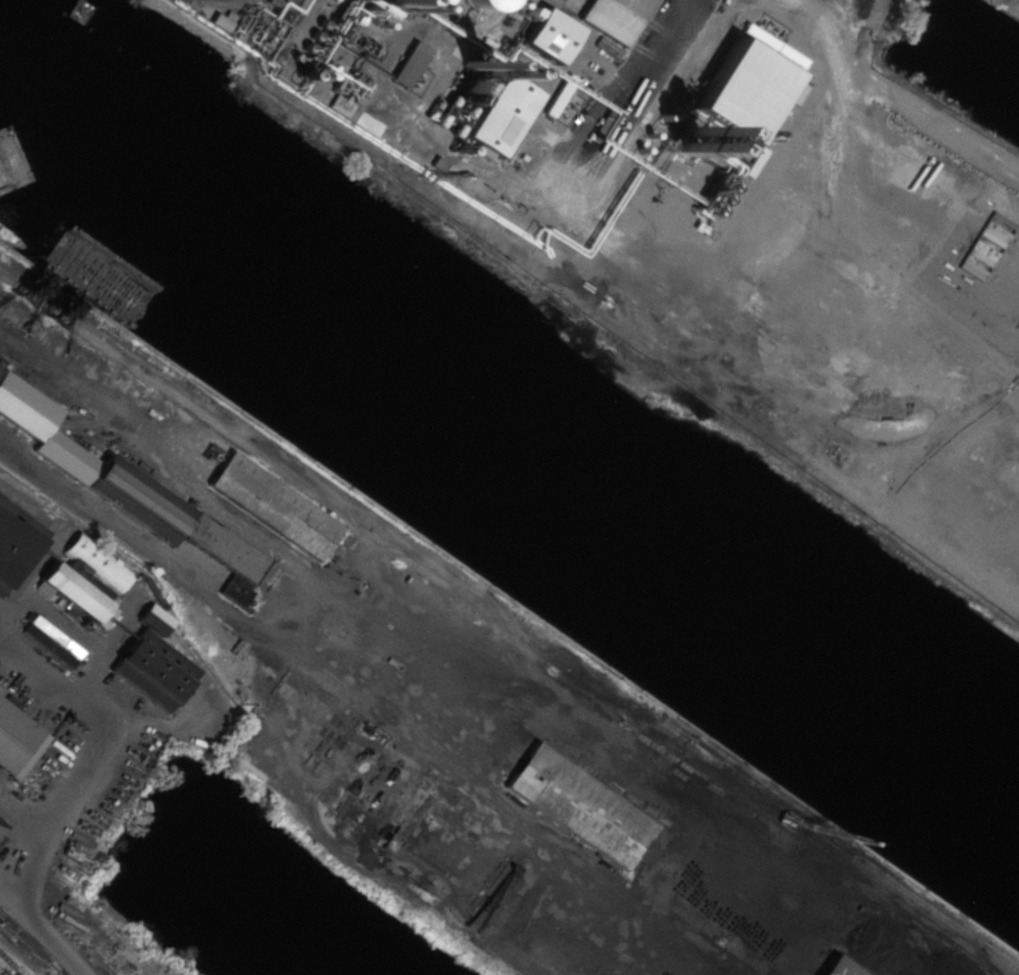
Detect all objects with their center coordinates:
road: (233, 0)
building: (420, 3)
building: (485, 4)
building: (614, 21)
building: (549, 35)
building: (713, 72)
building: (560, 95)
building: (774, 109)
building: (500, 115)
building: (242, 118)
building: (129, 489)
building: (275, 506)
building: (14, 538)
building: (87, 579)
building: (154, 619)
building: (51, 641)
building: (153, 670)
building: (226, 677)
building: (16, 739)
road: (64, 798)
building: (580, 805)
building: (837, 968)

